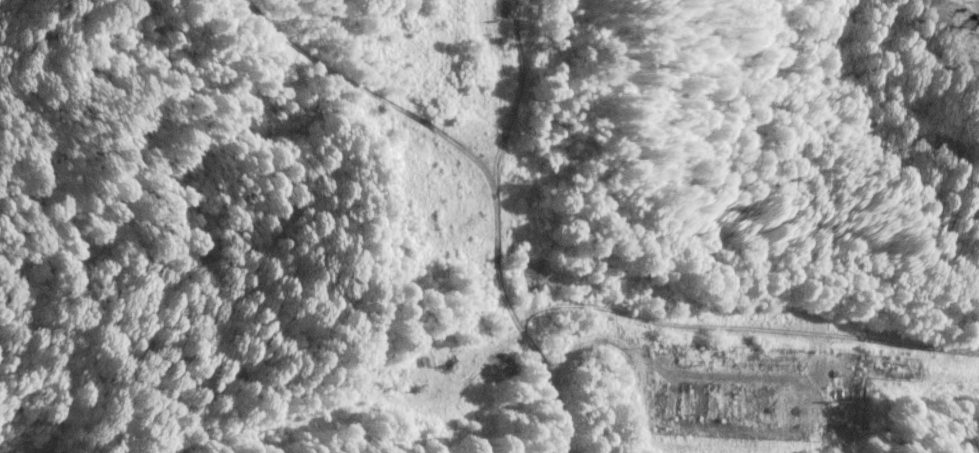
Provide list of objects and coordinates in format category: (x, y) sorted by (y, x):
road: (521, 88)
road: (492, 171)
road: (742, 325)
building: (687, 398)
building: (712, 401)

